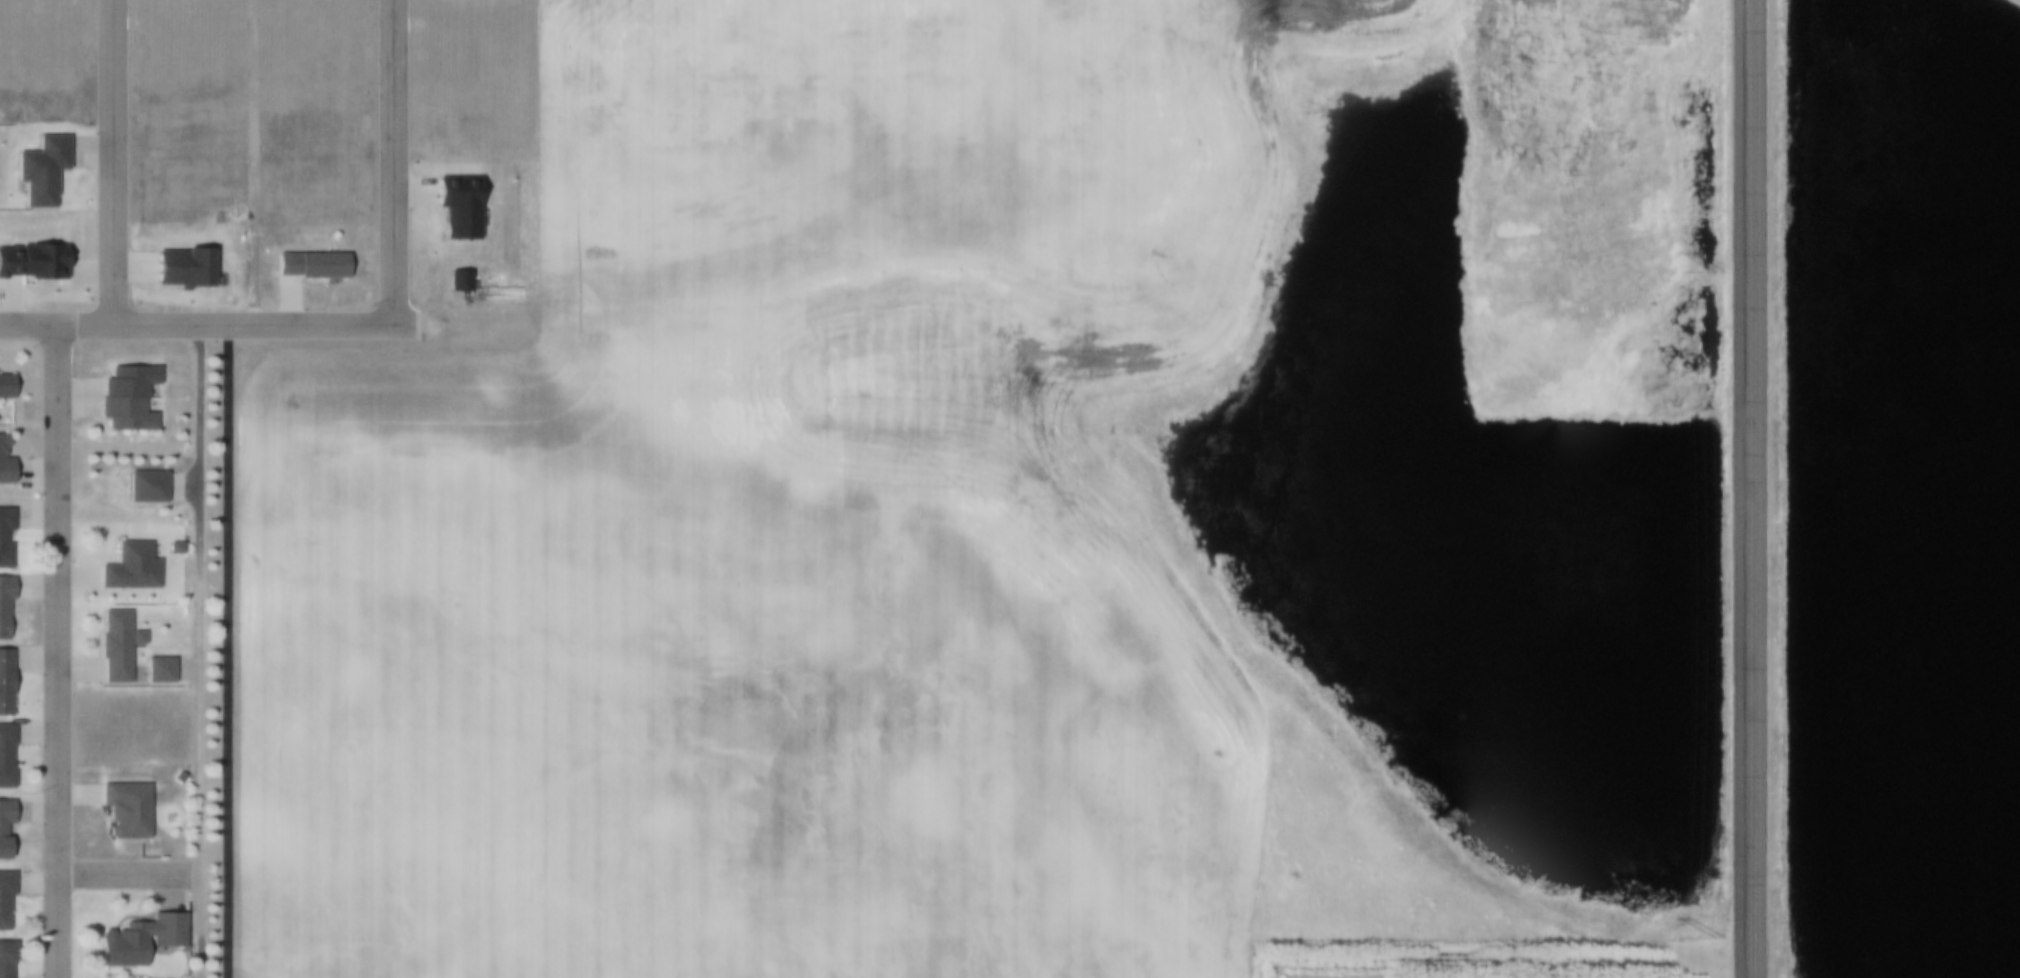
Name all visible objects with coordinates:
road: (389, 162)
road: (110, 163)
building: (31, 261)
building: (310, 265)
road: (207, 326)
building: (4, 385)
building: (128, 399)
building: (3, 439)
building: (4, 471)
road: (1735, 488)
road: (1754, 488)
building: (2, 537)
building: (173, 548)
building: (128, 567)
building: (4, 608)
building: (116, 648)
road: (56, 651)
road: (224, 651)
road: (195, 652)
building: (158, 671)
building: (4, 681)
building: (5, 758)
building: (125, 810)
building: (168, 819)
building: (4, 822)
road: (127, 873)
building: (4, 898)
building: (139, 938)
building: (3, 959)

